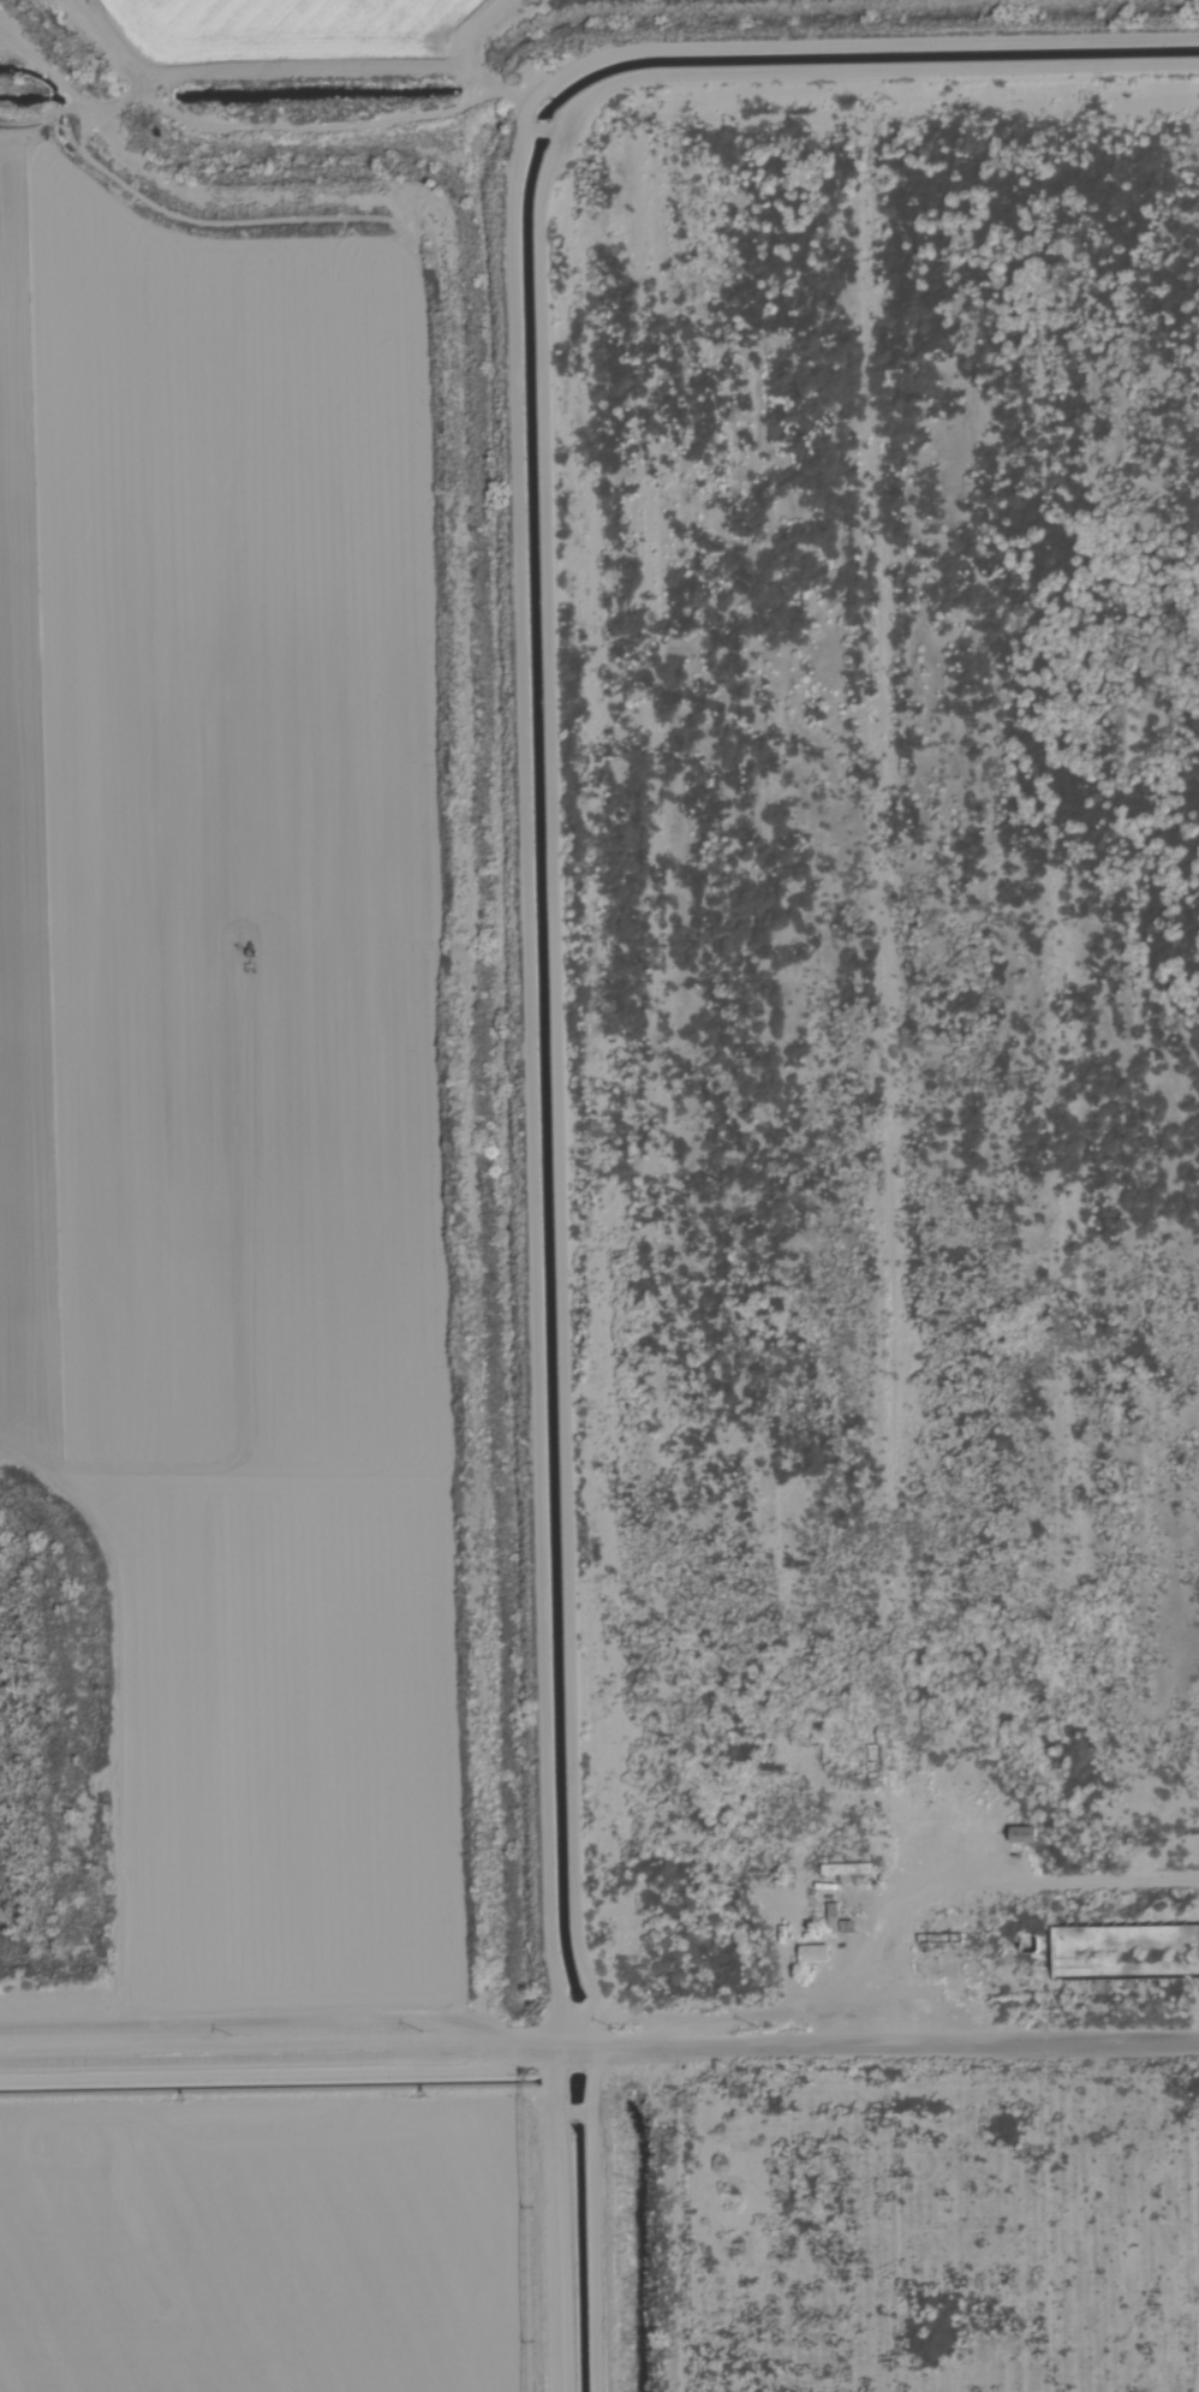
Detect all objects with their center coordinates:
building: (819, 1953)
road: (970, 2024)
road: (680, 2028)
road: (310, 2035)

